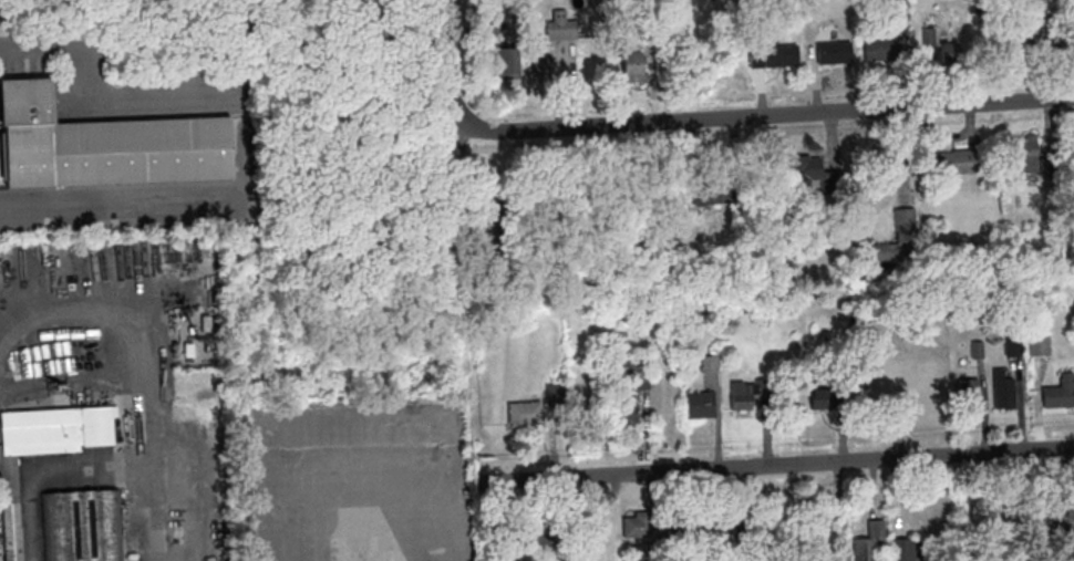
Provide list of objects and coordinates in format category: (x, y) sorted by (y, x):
building: (899, 4)
building: (560, 25)
building: (1023, 34)
road: (35, 40)
building: (878, 49)
road: (446, 50)
building: (830, 52)
building: (947, 52)
building: (777, 54)
building: (507, 62)
building: (632, 66)
building: (543, 67)
road: (753, 114)
building: (102, 144)
building: (1026, 152)
building: (906, 159)
building: (948, 160)
building: (793, 166)
building: (705, 191)
road: (122, 197)
building: (905, 220)
building: (1040, 343)
building: (1013, 346)
road: (151, 362)
building: (640, 375)
building: (1003, 388)
building: (969, 393)
building: (741, 394)
building: (1054, 396)
building: (829, 397)
building: (923, 397)
building: (700, 404)
building: (623, 408)
building: (524, 412)
road: (777, 464)
road: (51, 474)
building: (12, 515)
building: (637, 523)
building: (82, 524)
building: (725, 527)
building: (670, 528)
building: (598, 529)
building: (535, 532)
building: (868, 543)
building: (903, 548)

